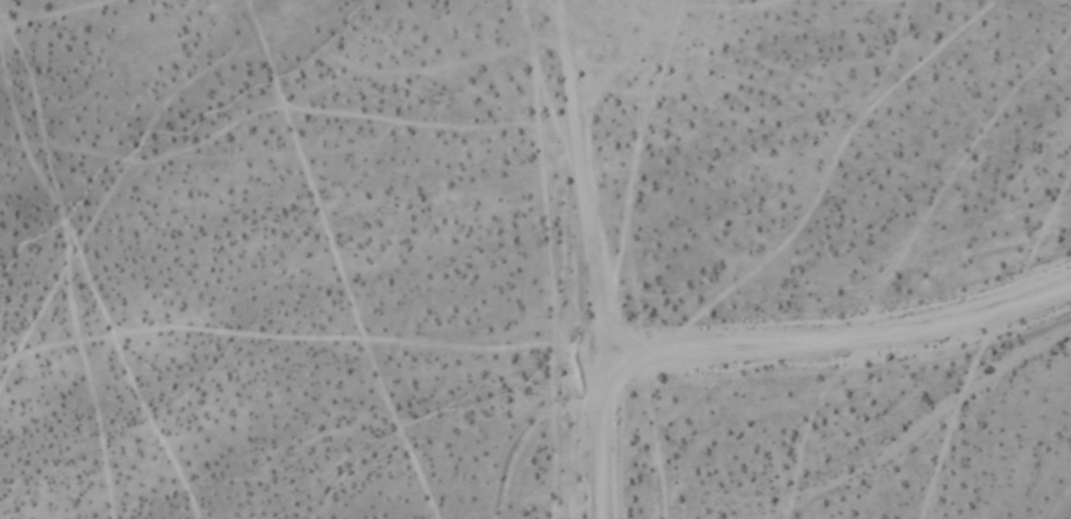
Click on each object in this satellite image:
road: (591, 241)
road: (838, 345)
road: (598, 440)

